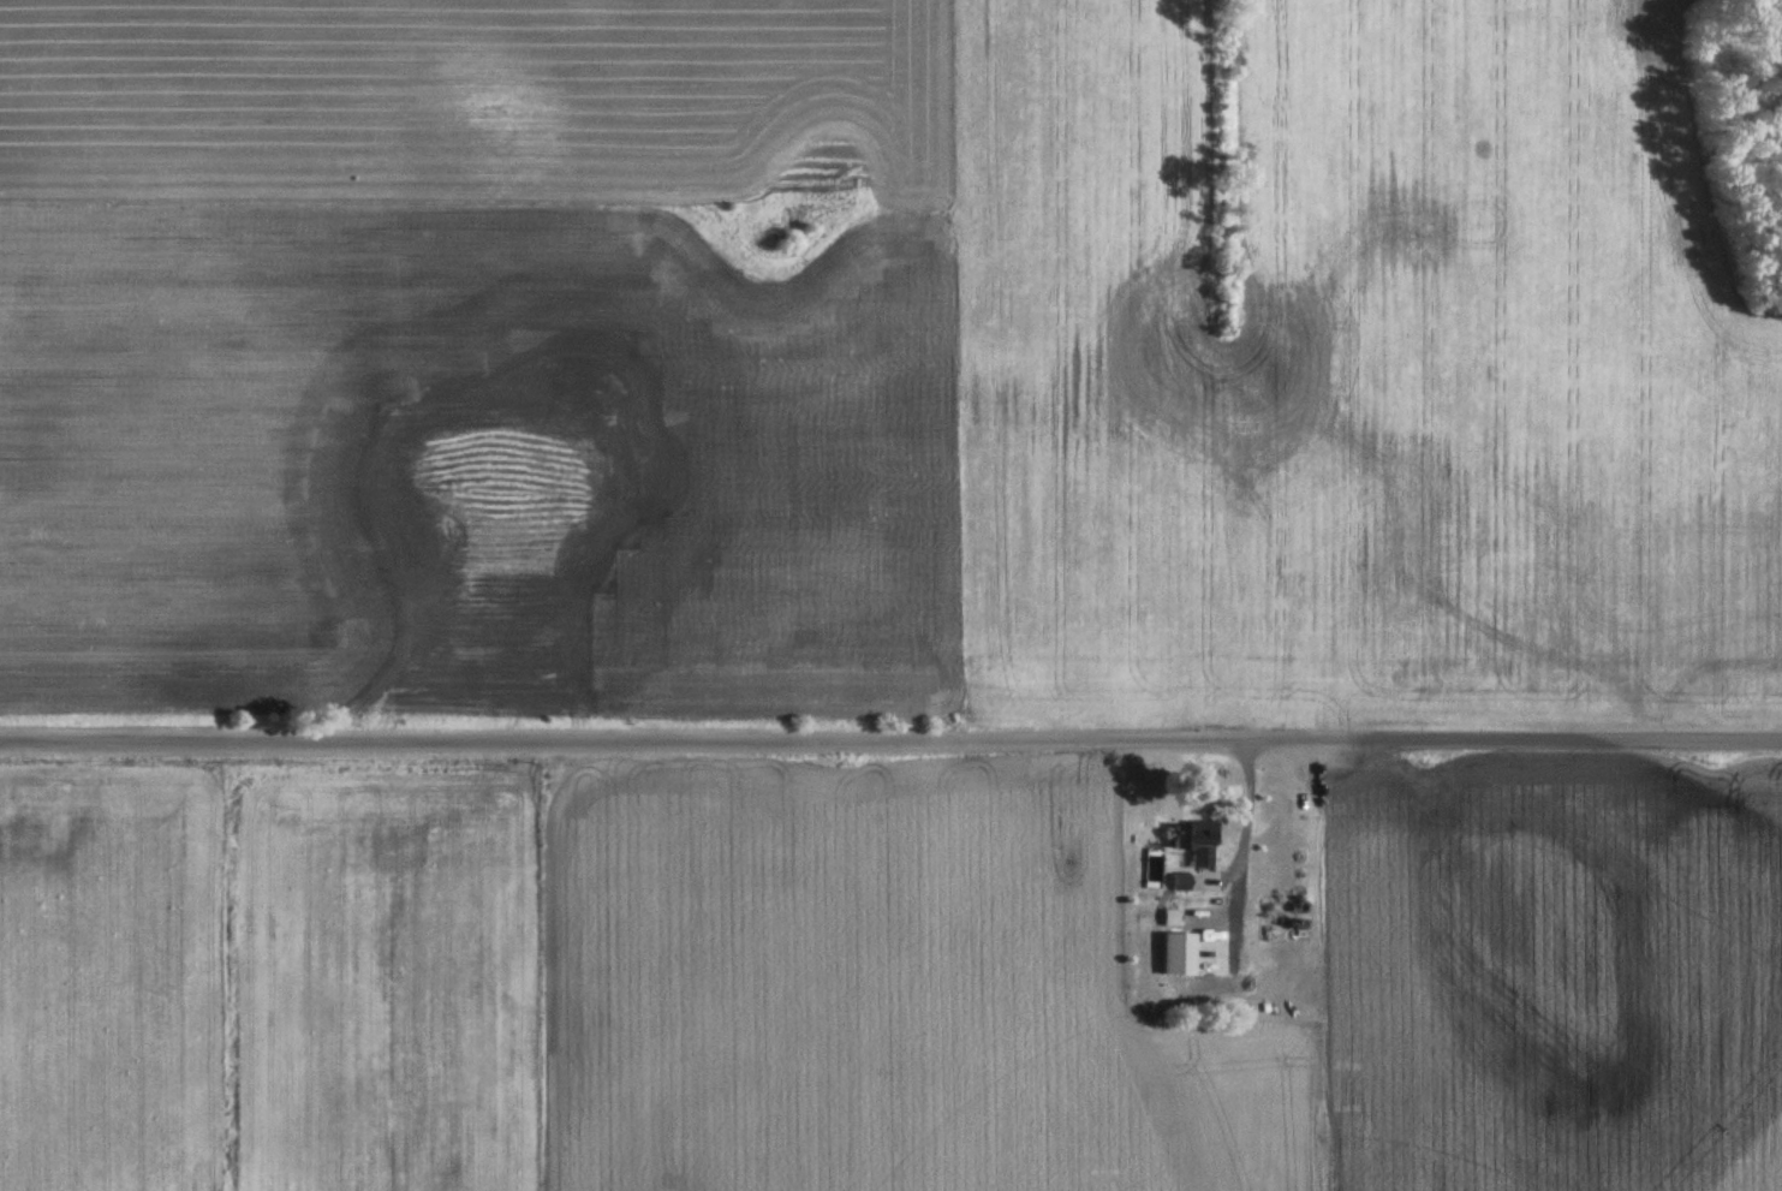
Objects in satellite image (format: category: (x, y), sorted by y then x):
road: (890, 742)
building: (1193, 842)

